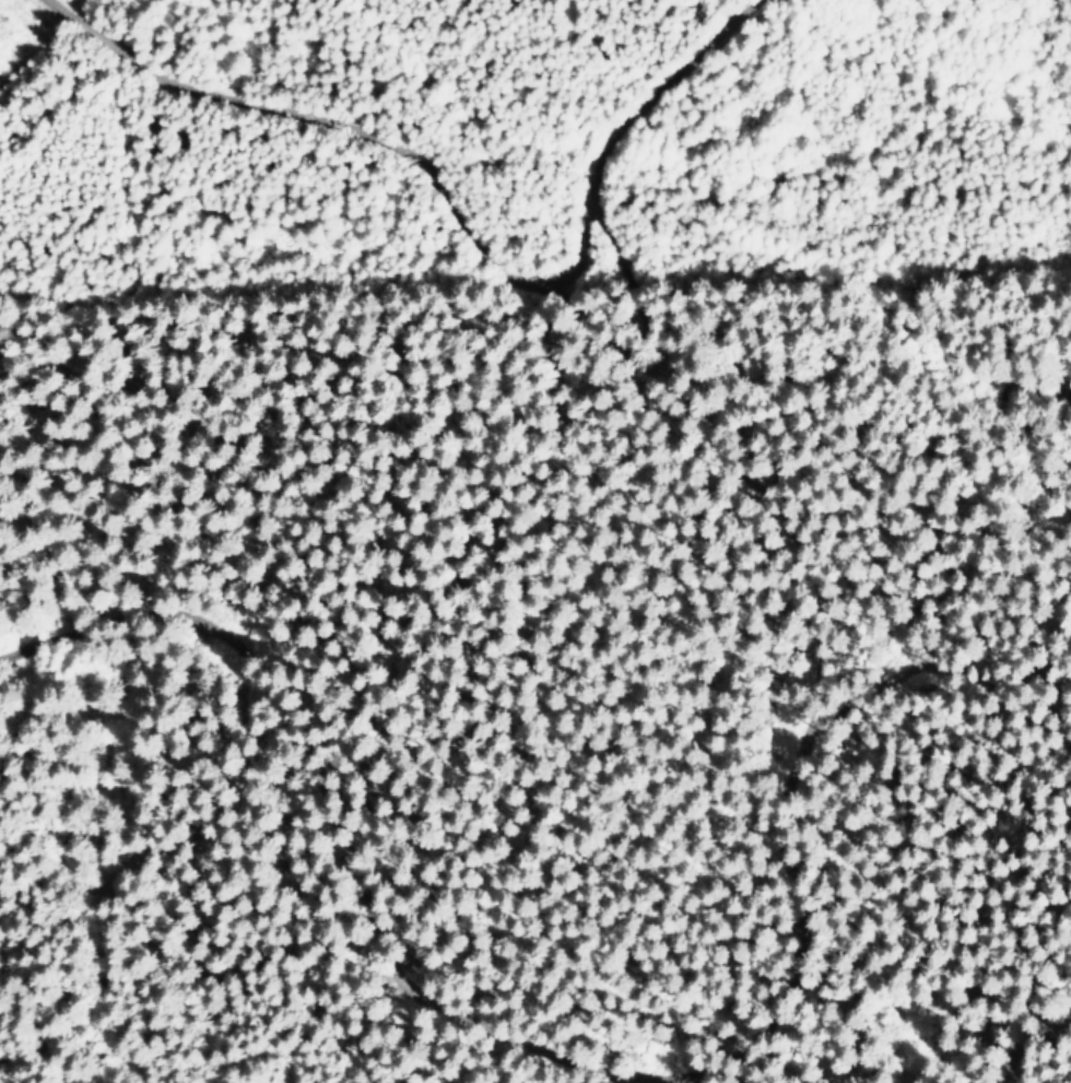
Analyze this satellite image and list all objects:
road: (382, 142)
road: (575, 291)
road: (773, 517)
road: (291, 861)
road: (1020, 1029)

